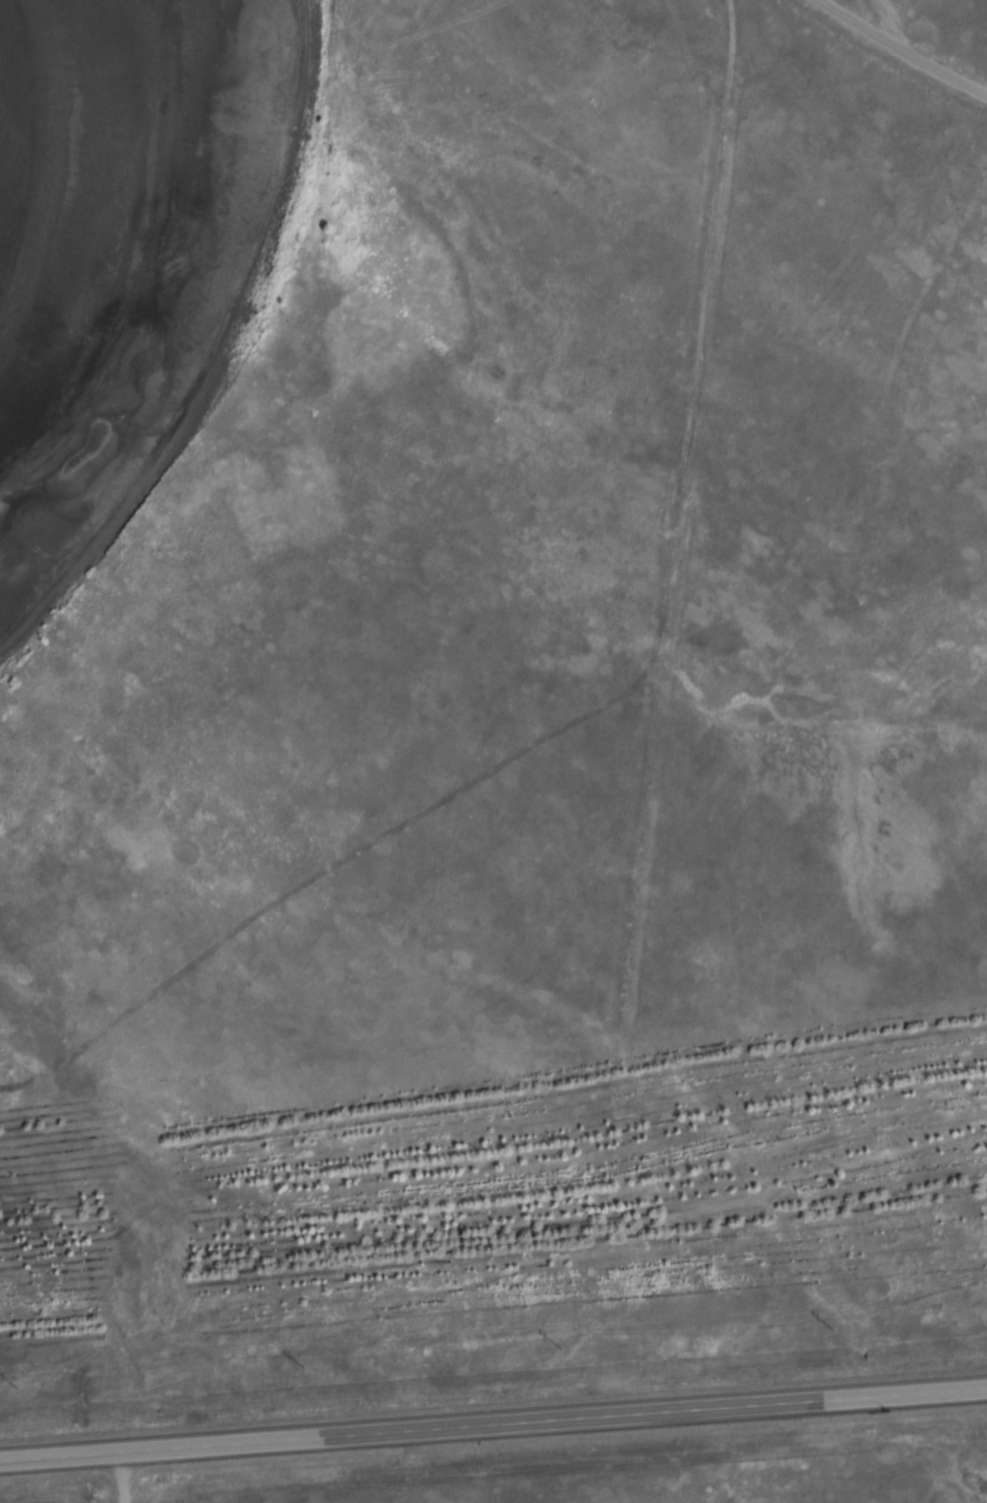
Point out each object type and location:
road: (903, 48)
road: (493, 1426)

